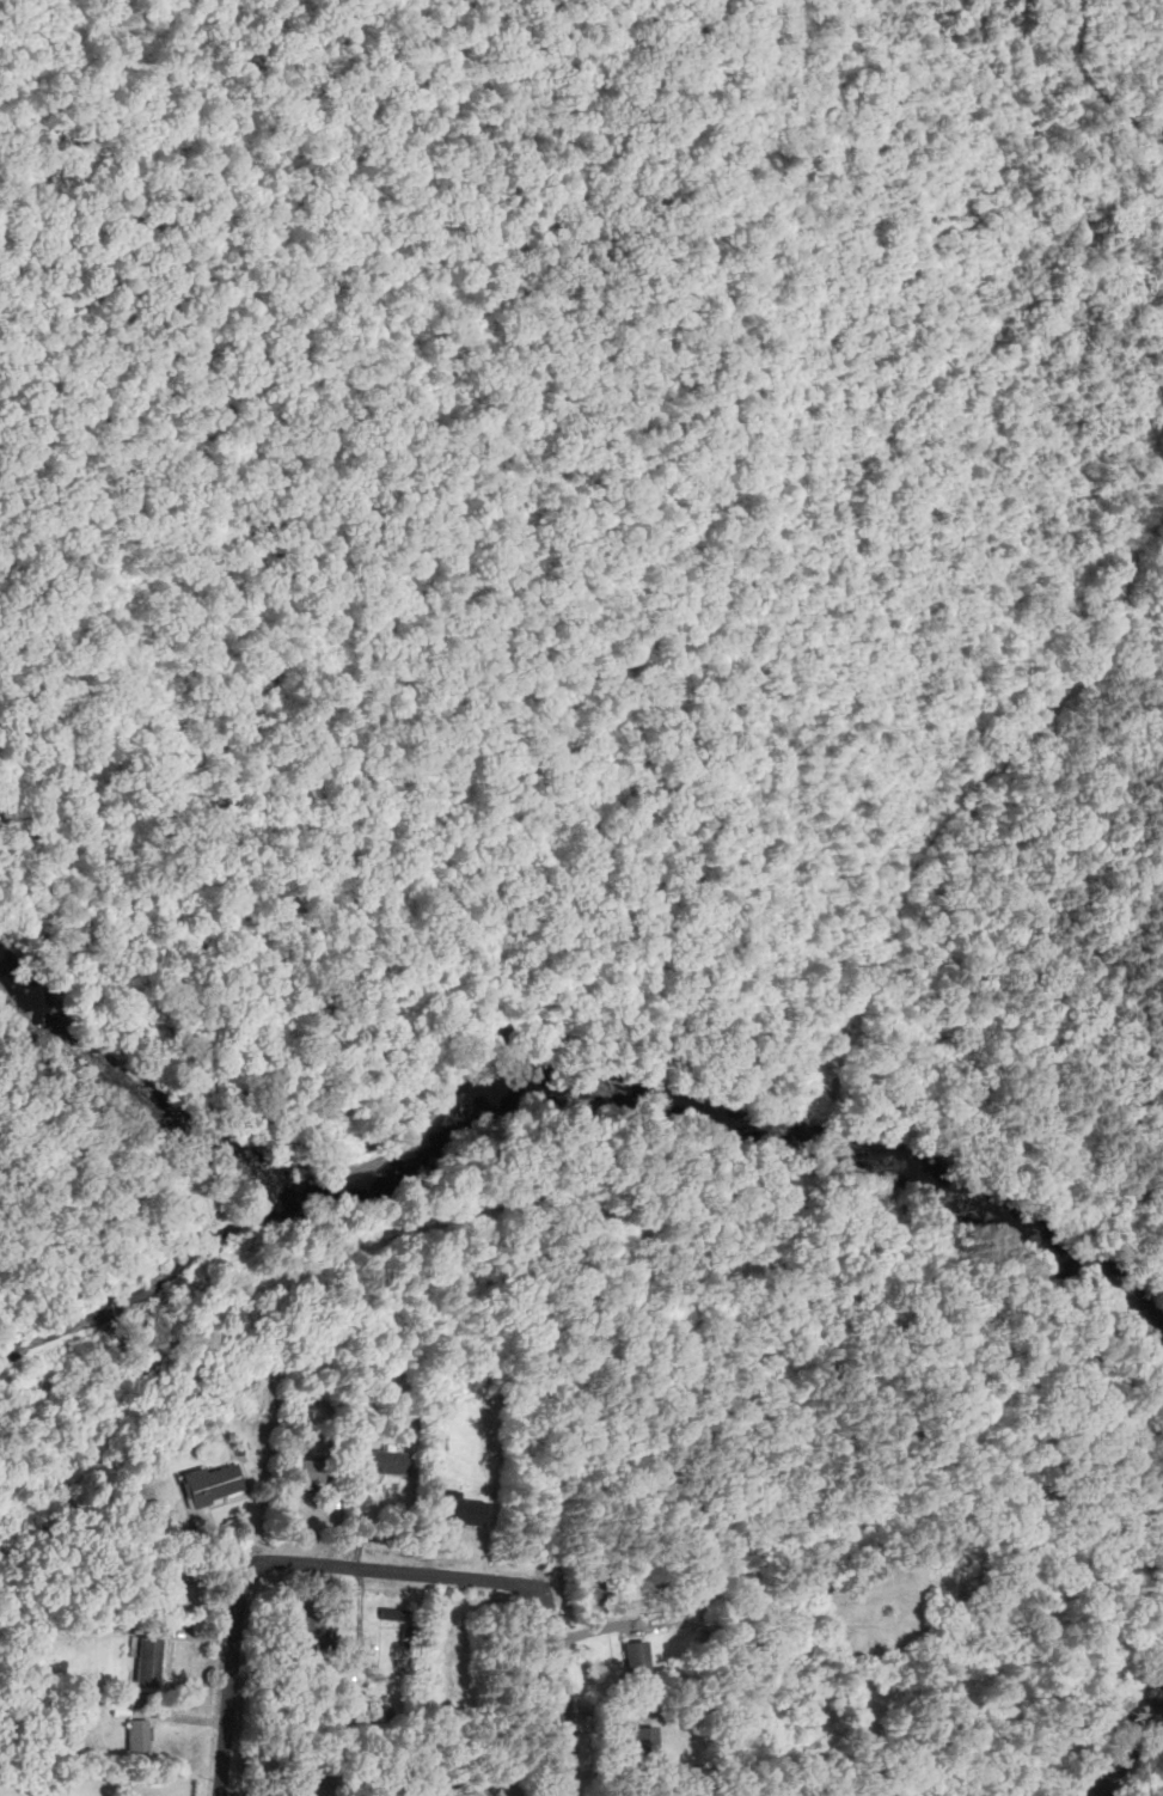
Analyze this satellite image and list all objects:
road: (552, 1020)
river: (557, 1100)
park: (1143, 1296)
building: (238, 1447)
building: (390, 1462)
building: (307, 1470)
building: (212, 1482)
building: (469, 1510)
road: (480, 1576)
building: (393, 1612)
building: (310, 1633)
building: (639, 1661)
building: (148, 1662)
road: (226, 1699)
river: (1130, 1729)
building: (137, 1736)
building: (648, 1741)
park: (1143, 1749)
road: (1155, 1777)
building: (306, 1783)
building: (686, 1794)
building: (494, 1795)

